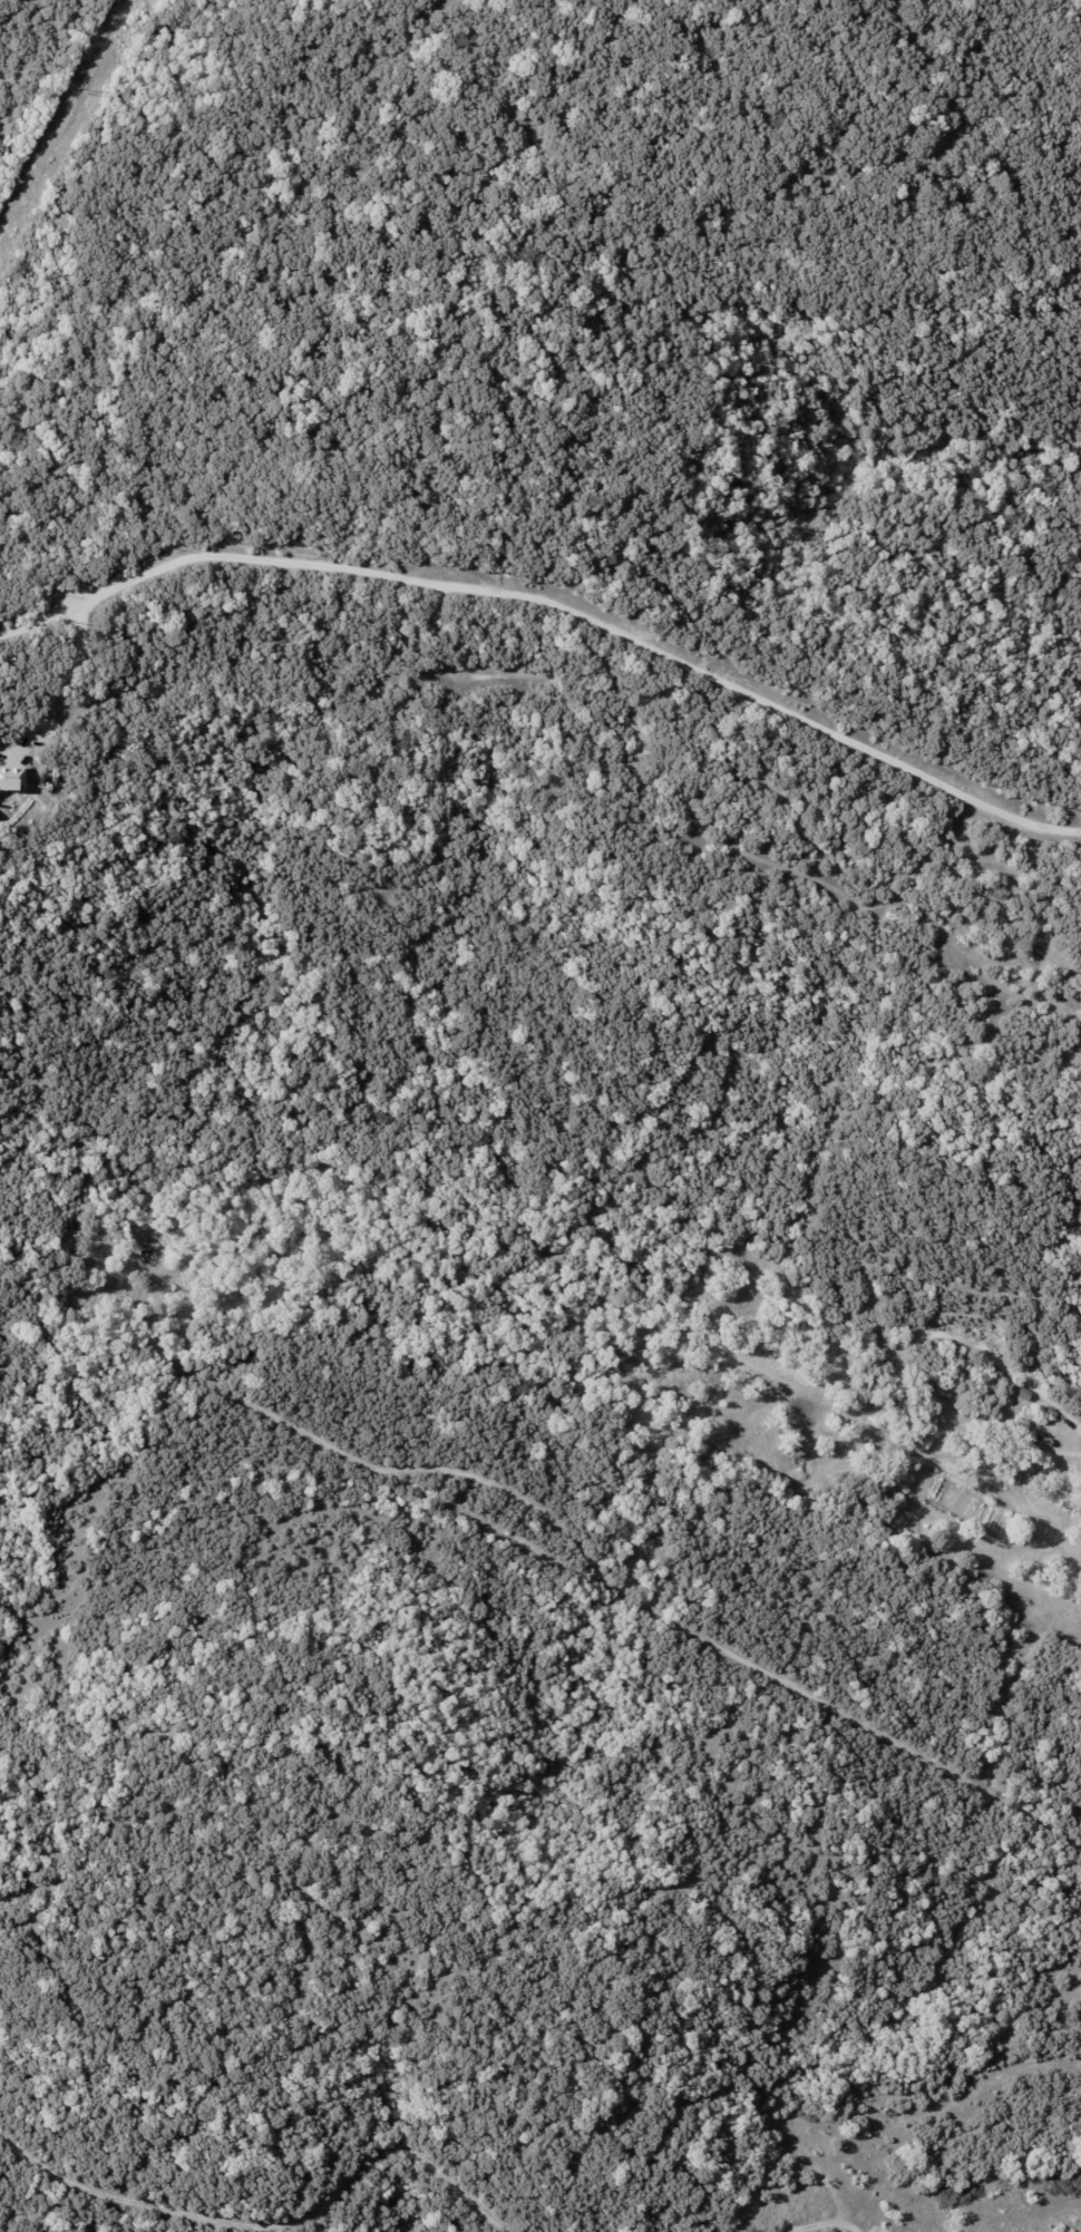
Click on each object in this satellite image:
power tower: (85, 87)
road: (556, 603)
road: (58, 688)
building: (1079, 1031)
building: (1024, 1393)
building: (1051, 1412)
building: (1024, 1422)
building: (1016, 1479)

